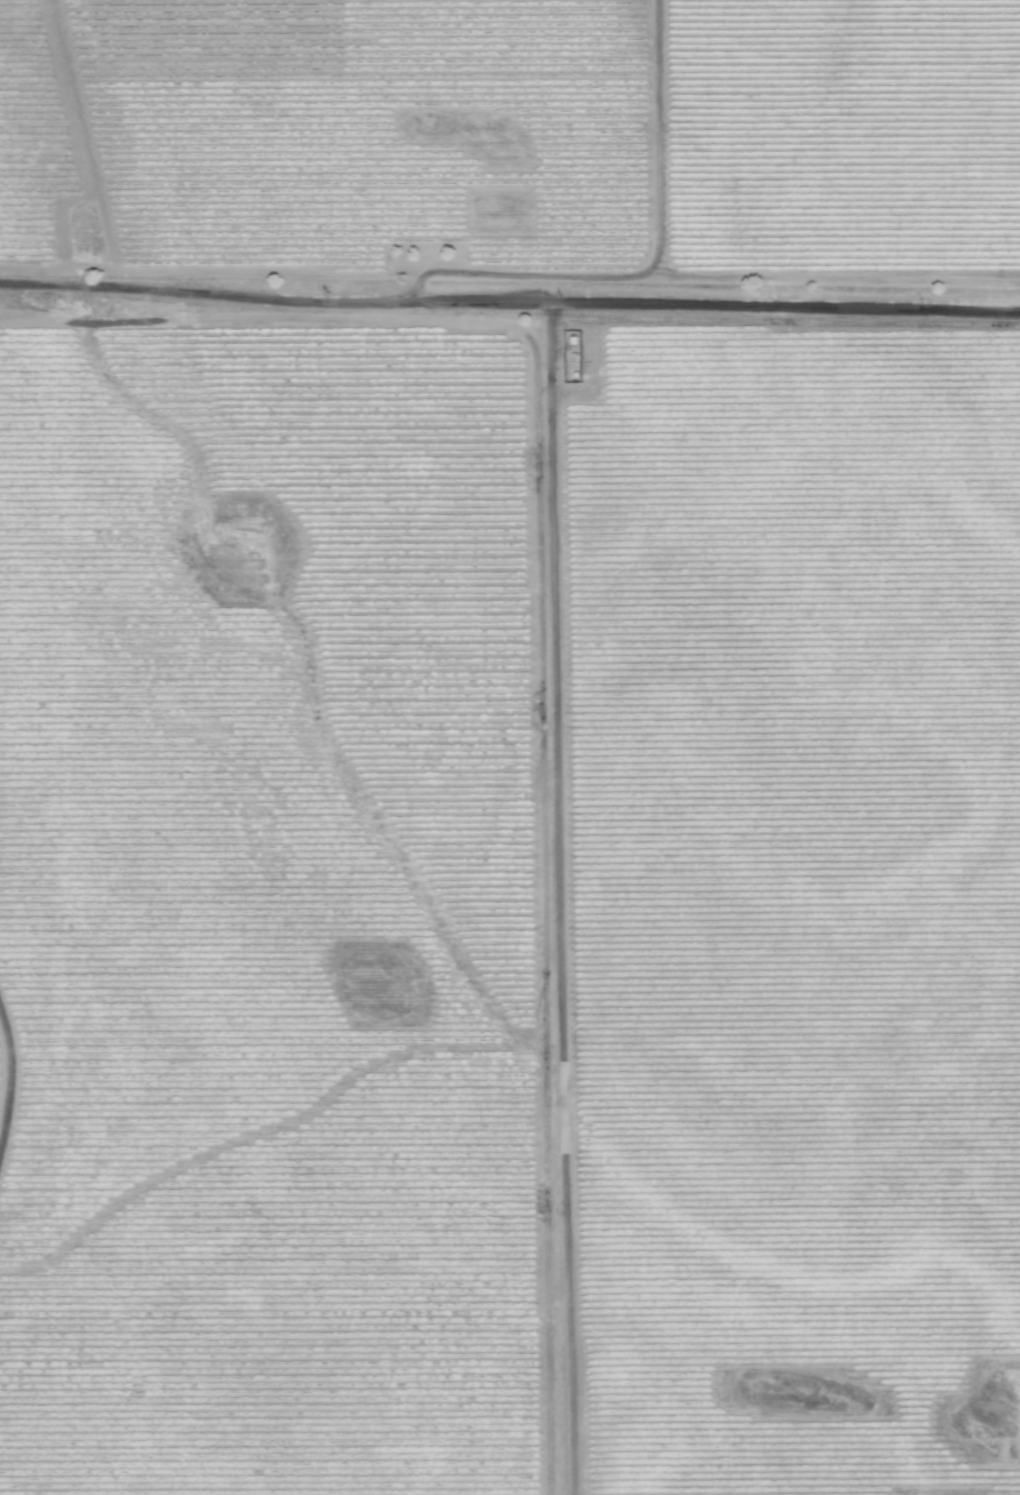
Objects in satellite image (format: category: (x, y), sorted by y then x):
road: (509, 303)
crop: (510, 747)

